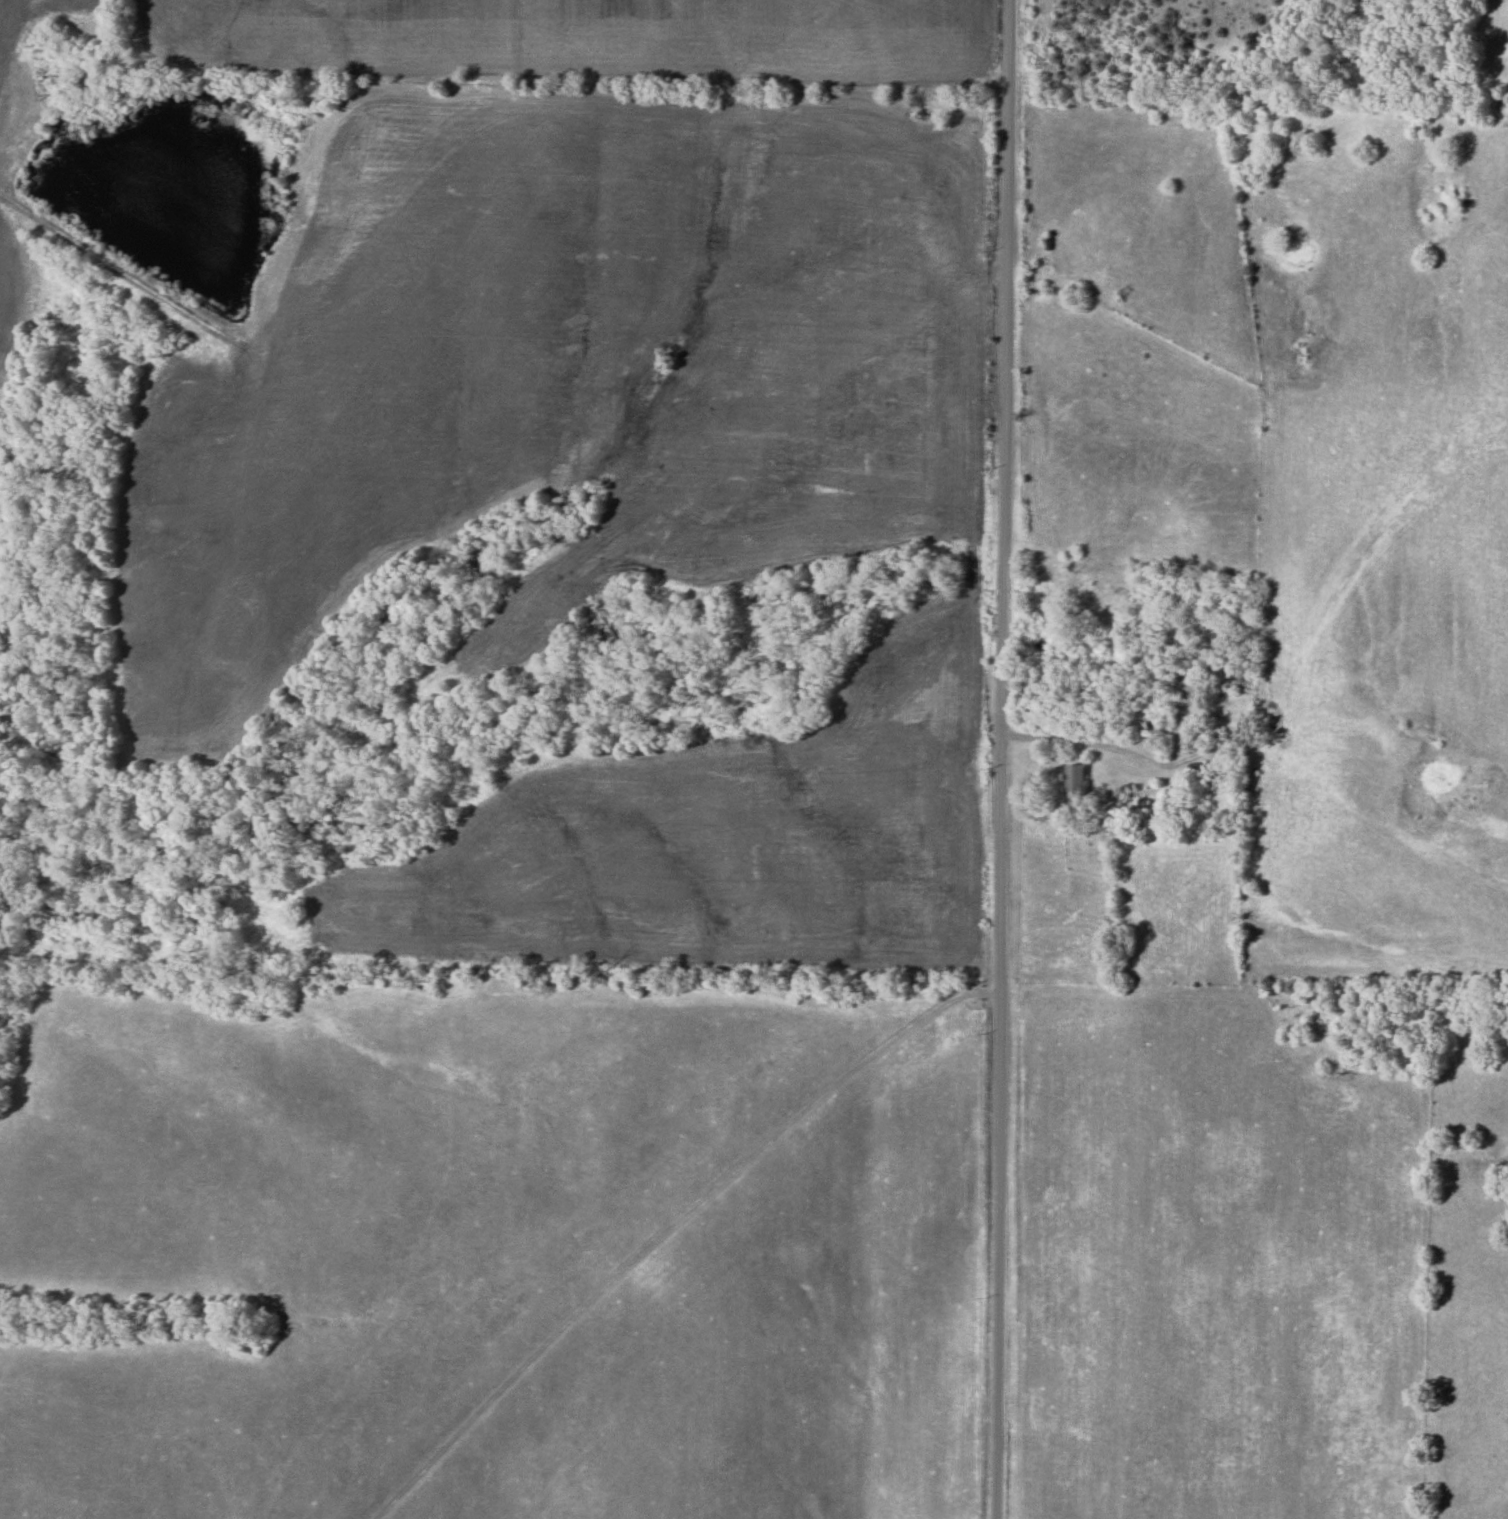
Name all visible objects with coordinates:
road: (1001, 759)

